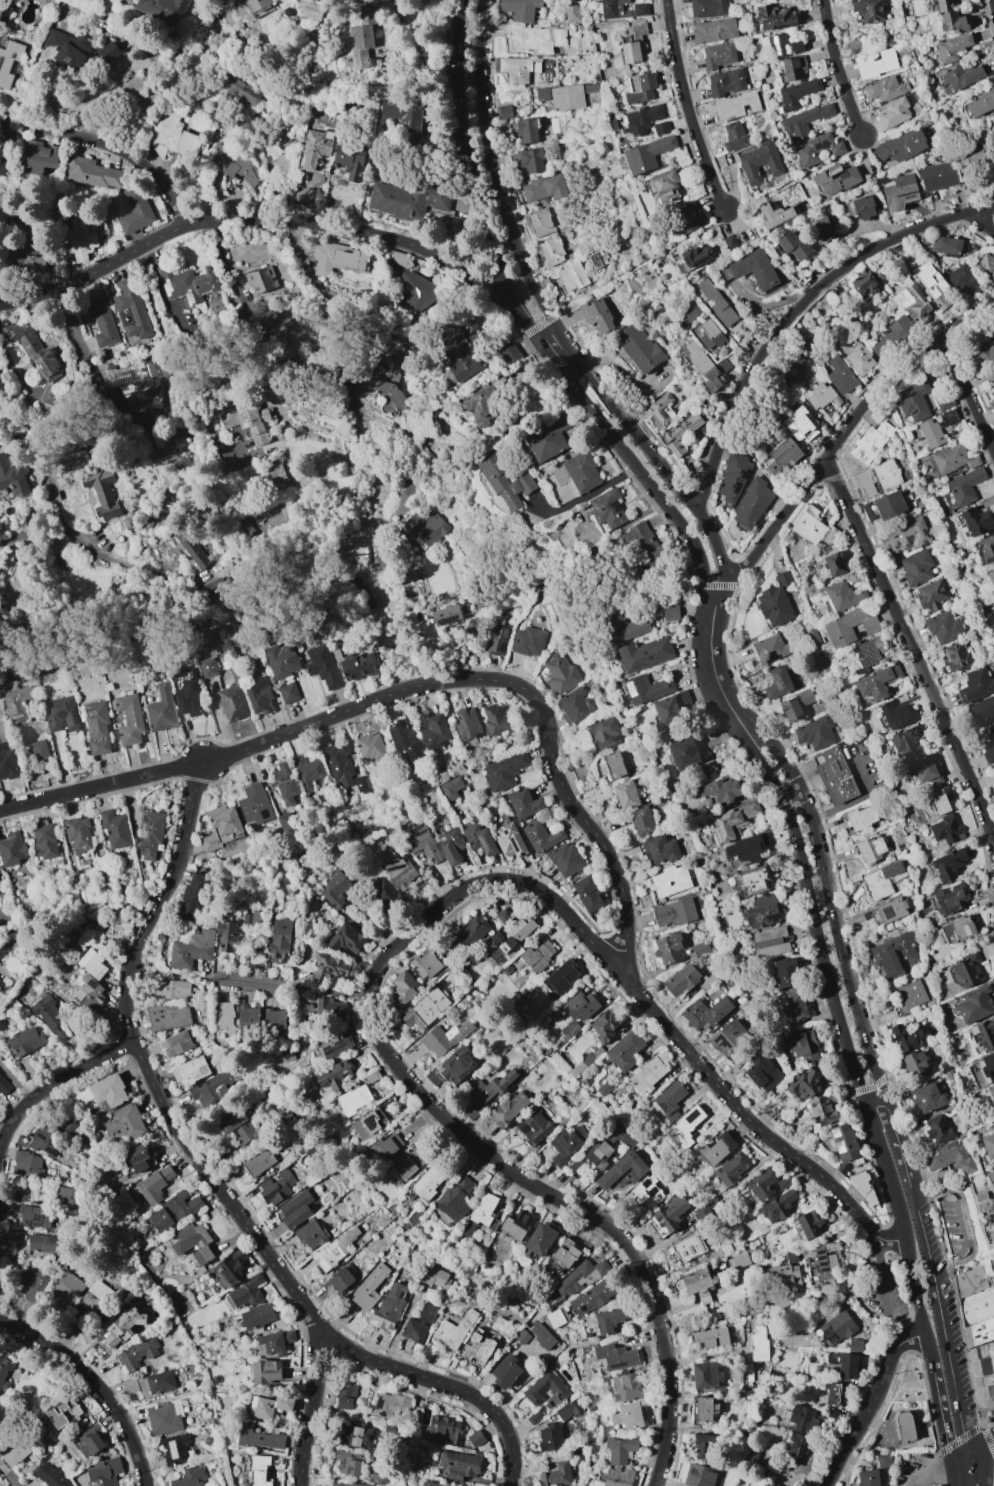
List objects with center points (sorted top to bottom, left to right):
building: (253, 5)
building: (944, 5)
building: (610, 7)
building: (707, 8)
building: (520, 9)
building: (163, 10)
building: (867, 10)
building: (572, 14)
building: (776, 17)
building: (953, 22)
building: (713, 30)
building: (361, 39)
building: (543, 39)
building: (633, 42)
building: (783, 45)
building: (952, 47)
building: (67, 49)
building: (107, 52)
building: (718, 55)
building: (8, 61)
building: (877, 63)
building: (793, 68)
building: (514, 69)
road: (838, 70)
building: (962, 76)
building: (726, 82)
building: (640, 88)
building: (885, 88)
building: (242, 92)
building: (542, 93)
building: (796, 93)
building: (566, 97)
building: (978, 102)
road: (687, 107)
building: (731, 107)
building: (504, 111)
building: (892, 112)
building: (642, 118)
building: (405, 120)
building: (804, 120)
building: (660, 128)
building: (527, 130)
building: (734, 136)
building: (172, 137)
road: (878, 139)
road: (108, 146)
building: (901, 146)
building: (992, 146)
building: (314, 148)
building: (283, 149)
building: (816, 149)
road: (462, 152)
building: (647, 154)
building: (39, 157)
building: (3, 159)
building: (348, 160)
building: (528, 160)
building: (758, 161)
building: (970, 161)
building: (233, 164)
road: (493, 170)
building: (94, 173)
building: (937, 176)
building: (835, 178)
building: (663, 186)
building: (544, 188)
building: (899, 192)
building: (404, 199)
building: (862, 207)
road: (726, 210)
building: (135, 211)
building: (685, 217)
building: (771, 217)
road: (252, 220)
building: (540, 222)
road: (982, 222)
building: (819, 229)
building: (79, 242)
building: (795, 246)
building: (946, 246)
building: (551, 251)
road: (658, 255)
building: (337, 259)
building: (597, 260)
building: (29, 261)
building: (986, 264)
building: (753, 268)
building: (570, 277)
building: (261, 280)
building: (408, 281)
building: (963, 281)
building: (863, 283)
building: (187, 284)
building: (933, 286)
building: (717, 303)
building: (915, 304)
building: (130, 310)
road: (800, 310)
building: (596, 314)
road: (521, 315)
building: (101, 320)
road: (542, 325)
building: (277, 329)
building: (708, 334)
road: (561, 336)
road: (548, 337)
building: (893, 337)
building: (638, 347)
building: (33, 350)
building: (461, 352)
building: (509, 353)
building: (987, 353)
building: (859, 359)
building: (706, 366)
building: (840, 375)
building: (390, 379)
building: (138, 382)
building: (992, 384)
building: (0, 389)
road: (968, 390)
building: (49, 394)
building: (819, 396)
building: (913, 401)
building: (658, 409)
road: (72, 417)
building: (246, 422)
building: (799, 424)
road: (847, 430)
building: (680, 433)
building: (930, 433)
building: (546, 438)
building: (870, 442)
road: (651, 454)
road: (629, 455)
building: (780, 456)
building: (168, 457)
building: (952, 458)
building: (582, 472)
building: (12, 475)
building: (276, 476)
building: (877, 478)
building: (505, 483)
building: (965, 486)
building: (101, 492)
road: (583, 497)
building: (751, 503)
building: (889, 505)
building: (607, 508)
building: (977, 521)
building: (812, 527)
building: (425, 528)
building: (905, 537)
road: (102, 541)
building: (647, 545)
road: (129, 547)
building: (986, 548)
building: (190, 550)
building: (829, 566)
building: (916, 567)
building: (991, 577)
road: (718, 579)
building: (930, 594)
building: (842, 595)
building: (774, 605)
building: (670, 613)
building: (445, 615)
building: (944, 626)
building: (849, 627)
building: (625, 628)
building: (497, 635)
building: (528, 641)
building: (770, 649)
road: (913, 649)
building: (644, 654)
building: (955, 655)
building: (282, 660)
building: (359, 665)
road: (711, 665)
building: (322, 666)
building: (208, 667)
building: (559, 673)
building: (877, 682)
building: (777, 683)
building: (976, 685)
building: (646, 689)
building: (187, 692)
building: (287, 692)
building: (258, 695)
building: (17, 702)
building: (232, 703)
building: (795, 705)
building: (575, 706)
building: (670, 709)
building: (982, 709)
building: (161, 710)
road: (345, 711)
building: (60, 714)
building: (897, 715)
building: (129, 719)
building: (495, 719)
building: (466, 722)
building: (96, 727)
building: (432, 730)
building: (604, 732)
building: (815, 732)
building: (404, 741)
building: (906, 742)
building: (370, 746)
building: (988, 746)
building: (38, 750)
building: (684, 753)
road: (779, 756)
building: (338, 762)
building: (7, 764)
building: (614, 764)
building: (923, 768)
road: (762, 769)
building: (993, 769)
building: (307, 771)
building: (505, 771)
building: (835, 776)
building: (283, 782)
road: (99, 787)
building: (451, 788)
building: (719, 790)
building: (625, 794)
road: (790, 795)
building: (936, 797)
road: (858, 798)
building: (523, 803)
road: (806, 804)
building: (254, 805)
road: (580, 815)
building: (859, 818)
building: (642, 821)
building: (732, 821)
building: (225, 823)
building: (115, 829)
building: (945, 830)
building: (78, 834)
building: (150, 834)
building: (541, 836)
building: (478, 839)
building: (508, 840)
building: (420, 841)
building: (44, 842)
building: (209, 842)
building: (451, 845)
building: (11, 849)
building: (661, 849)
building: (871, 849)
building: (743, 850)
building: (566, 860)
building: (948, 864)
road: (169, 866)
building: (398, 870)
building: (882, 879)
building: (670, 881)
building: (754, 881)
road: (488, 882)
building: (335, 891)
building: (386, 893)
building: (587, 893)
building: (192, 896)
building: (950, 898)
building: (890, 910)
building: (763, 912)
building: (673, 913)
building: (503, 916)
building: (957, 929)
building: (471, 930)
building: (515, 933)
building: (227, 936)
building: (345, 939)
building: (279, 941)
building: (771, 942)
building: (191, 949)
building: (668, 949)
building: (894, 955)
building: (537, 956)
road: (846, 962)
building: (92, 964)
building: (425, 964)
building: (328, 967)
road: (924, 968)
building: (968, 969)
building: (784, 972)
road: (176, 973)
building: (560, 978)
building: (681, 980)
building: (1, 983)
road: (258, 985)
building: (172, 989)
building: (401, 990)
road: (332, 992)
building: (910, 994)
building: (88, 995)
road: (125, 1004)
building: (794, 1004)
building: (974, 1004)
building: (580, 1006)
building: (425, 1009)
building: (329, 1010)
building: (706, 1013)
building: (167, 1016)
building: (224, 1016)
building: (51, 1018)
building: (248, 1020)
building: (274, 1021)
building: (605, 1024)
building: (983, 1033)
building: (444, 1038)
building: (729, 1038)
building: (908, 1038)
building: (24, 1042)
building: (176, 1043)
building: (335, 1043)
building: (802, 1044)
building: (624, 1050)
building: (914, 1062)
building: (457, 1066)
road: (852, 1066)
building: (988, 1066)
road: (82, 1069)
building: (190, 1071)
building: (762, 1073)
building: (647, 1074)
building: (333, 1075)
road: (15, 1082)
building: (805, 1084)
building: (4, 1086)
road: (870, 1087)
building: (211, 1089)
building: (488, 1089)
building: (108, 1091)
building: (991, 1093)
building: (927, 1098)
building: (353, 1099)
building: (669, 1100)
road: (165, 1103)
road: (875, 1106)
building: (508, 1108)
building: (823, 1109)
road: (12, 1120)
building: (368, 1123)
road: (752, 1123)
building: (124, 1124)
building: (236, 1125)
building: (686, 1126)
building: (534, 1127)
building: (70, 1128)
building: (937, 1128)
building: (43, 1142)
building: (566, 1143)
building: (845, 1143)
building: (988, 1145)
building: (383, 1148)
building: (715, 1149)
road: (898, 1150)
building: (598, 1154)
building: (949, 1157)
building: (258, 1162)
building: (28, 1164)
building: (408, 1164)
building: (732, 1168)
building: (621, 1169)
building: (843, 1169)
building: (990, 1177)
building: (427, 1183)
building: (154, 1185)
building: (763, 1185)
building: (275, 1186)
building: (863, 1186)
road: (935, 1189)
building: (646, 1194)
building: (19, 1195)
building: (67, 1196)
building: (455, 1198)
road: (228, 1201)
road: (580, 1207)
building: (777, 1207)
building: (295, 1209)
building: (173, 1211)
building: (481, 1213)
building: (668, 1215)
building: (35, 1217)
building: (809, 1223)
parking lot: (955, 1224)
road: (959, 1224)
building: (516, 1225)
building: (953, 1225)
building: (310, 1234)
building: (540, 1239)
building: (42, 1243)
building: (193, 1243)
building: (688, 1248)
building: (334, 1250)
building: (563, 1256)
building: (826, 1257)
building: (737, 1261)
road: (952, 1262)
building: (229, 1269)
building: (784, 1275)
building: (434, 1278)
building: (576, 1280)
building: (699, 1283)
building: (31, 1285)
building: (369, 1288)
building: (65, 1290)
road: (293, 1291)
parking lot: (886, 1291)
building: (246, 1292)
road: (886, 1292)
road: (860, 1295)
building: (973, 1296)
building: (93, 1297)
building: (592, 1298)
building: (390, 1305)
road: (745, 1309)
building: (257, 1316)
building: (554, 1318)
building: (607, 1320)
building: (419, 1323)
building: (123, 1326)
building: (836, 1328)
road: (650, 1329)
building: (453, 1330)
road: (941, 1330)
building: (977, 1332)
building: (541, 1336)
building: (710, 1337)
building: (273, 1343)
building: (758, 1343)
road: (51, 1346)
building: (477, 1349)
building: (138, 1353)
building: (615, 1356)
building: (844, 1364)
building: (3, 1371)
building: (266, 1371)
building: (506, 1372)
building: (982, 1373)
building: (704, 1375)
building: (159, 1382)
road: (451, 1386)
building: (625, 1387)
road: (226, 1388)
building: (545, 1390)
building: (836, 1394)
building: (345, 1396)
road: (873, 1404)
building: (390, 1405)
road: (940, 1405)
building: (269, 1406)
building: (568, 1409)
building: (704, 1409)
building: (63, 1413)
road: (312, 1413)
building: (627, 1416)
building: (164, 1418)
building: (801, 1418)
building: (904, 1426)
building: (444, 1429)
road: (128, 1431)
building: (354, 1435)
building: (549, 1437)
building: (258, 1438)
building: (475, 1439)
building: (88, 1441)
building: (704, 1446)
building: (797, 1447)
building: (174, 1449)
building: (620, 1450)
road: (982, 1451)
building: (13, 1452)
building: (347, 1462)
building: (459, 1464)
road: (932, 1467)
building: (259, 1470)
road: (962, 1471)
building: (104, 1472)
road: (973, 1474)
building: (556, 1475)
building: (699, 1475)
building: (51, 1476)
building: (189, 1477)
building: (618, 1477)
building: (868, 1478)
road: (955, 1482)
building: (348, 1484)
building: (433, 1484)
road: (13, 1485)
building: (762, 1485)
building: (936, 1485)

